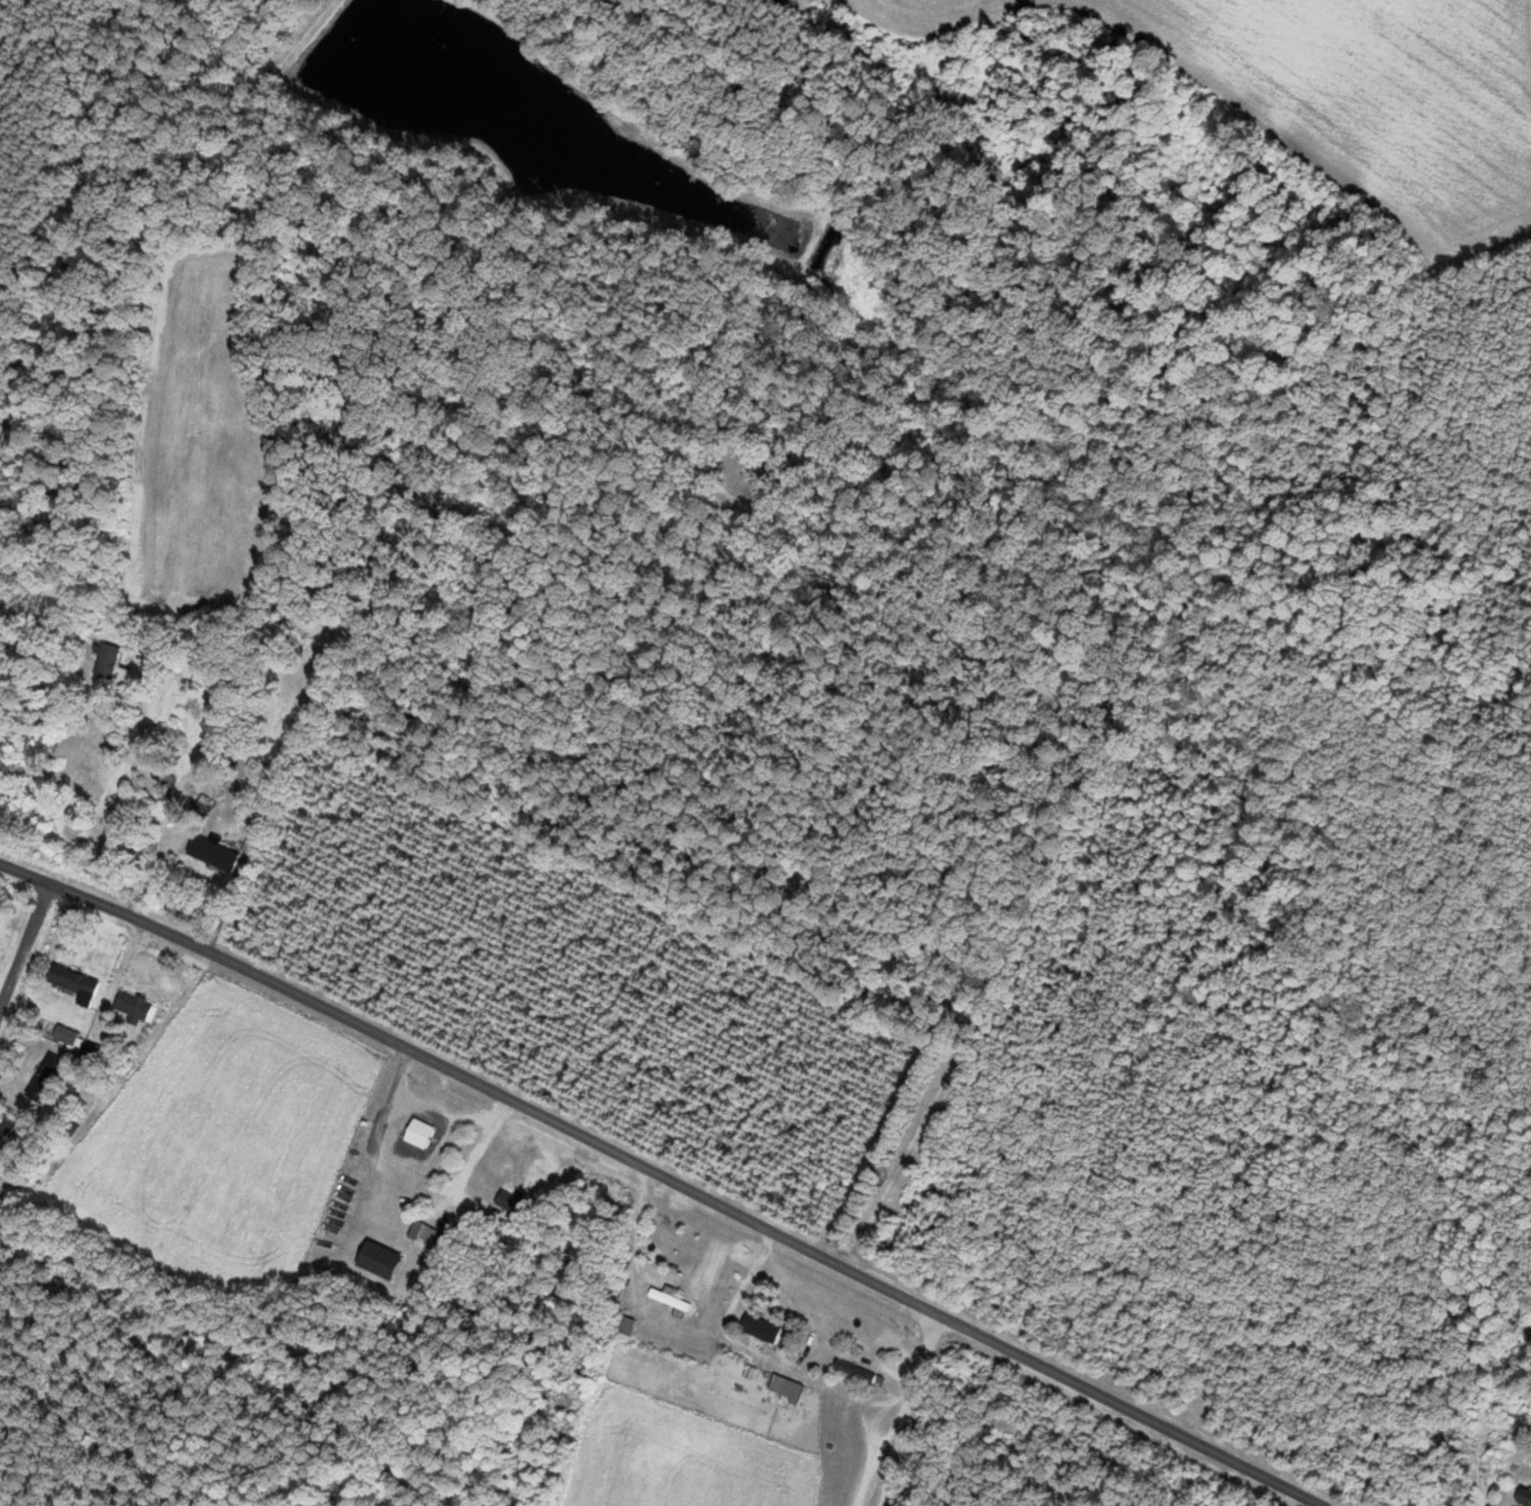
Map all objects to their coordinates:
road: (1527, 2)
building: (107, 662)
building: (188, 669)
road: (27, 945)
building: (74, 982)
building: (135, 1009)
building: (47, 1078)
building: (6, 1126)
building: (409, 1149)
road: (668, 1174)
building: (511, 1204)
building: (426, 1234)
building: (672, 1301)
building: (624, 1325)
building: (761, 1329)
building: (856, 1371)
building: (882, 1381)
building: (786, 1388)
building: (1524, 1496)

